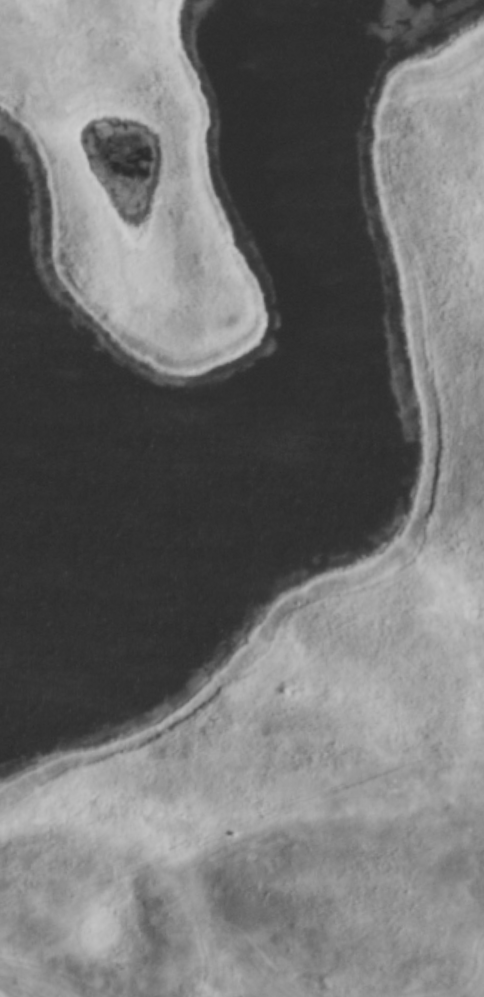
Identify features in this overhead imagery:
road: (239, 827)

